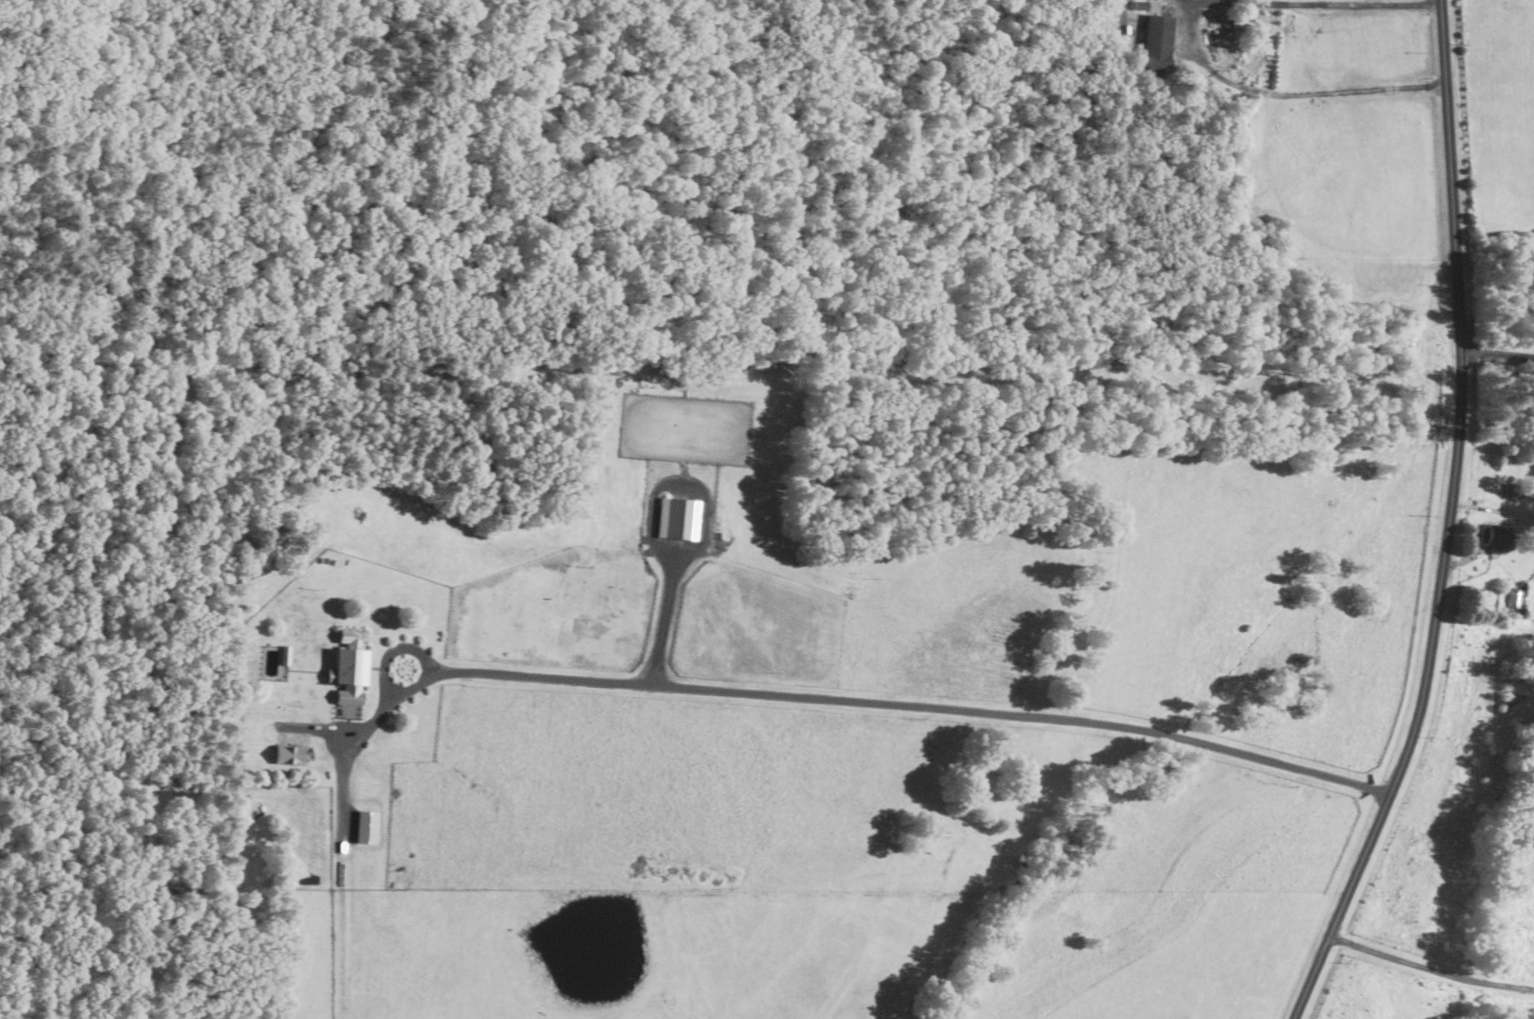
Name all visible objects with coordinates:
building: (1159, 36)
road: (1193, 39)
road: (1498, 355)
road: (1451, 522)
road: (703, 527)
building: (1497, 536)
building: (1513, 597)
road: (903, 703)
road: (342, 833)
road: (1431, 969)

